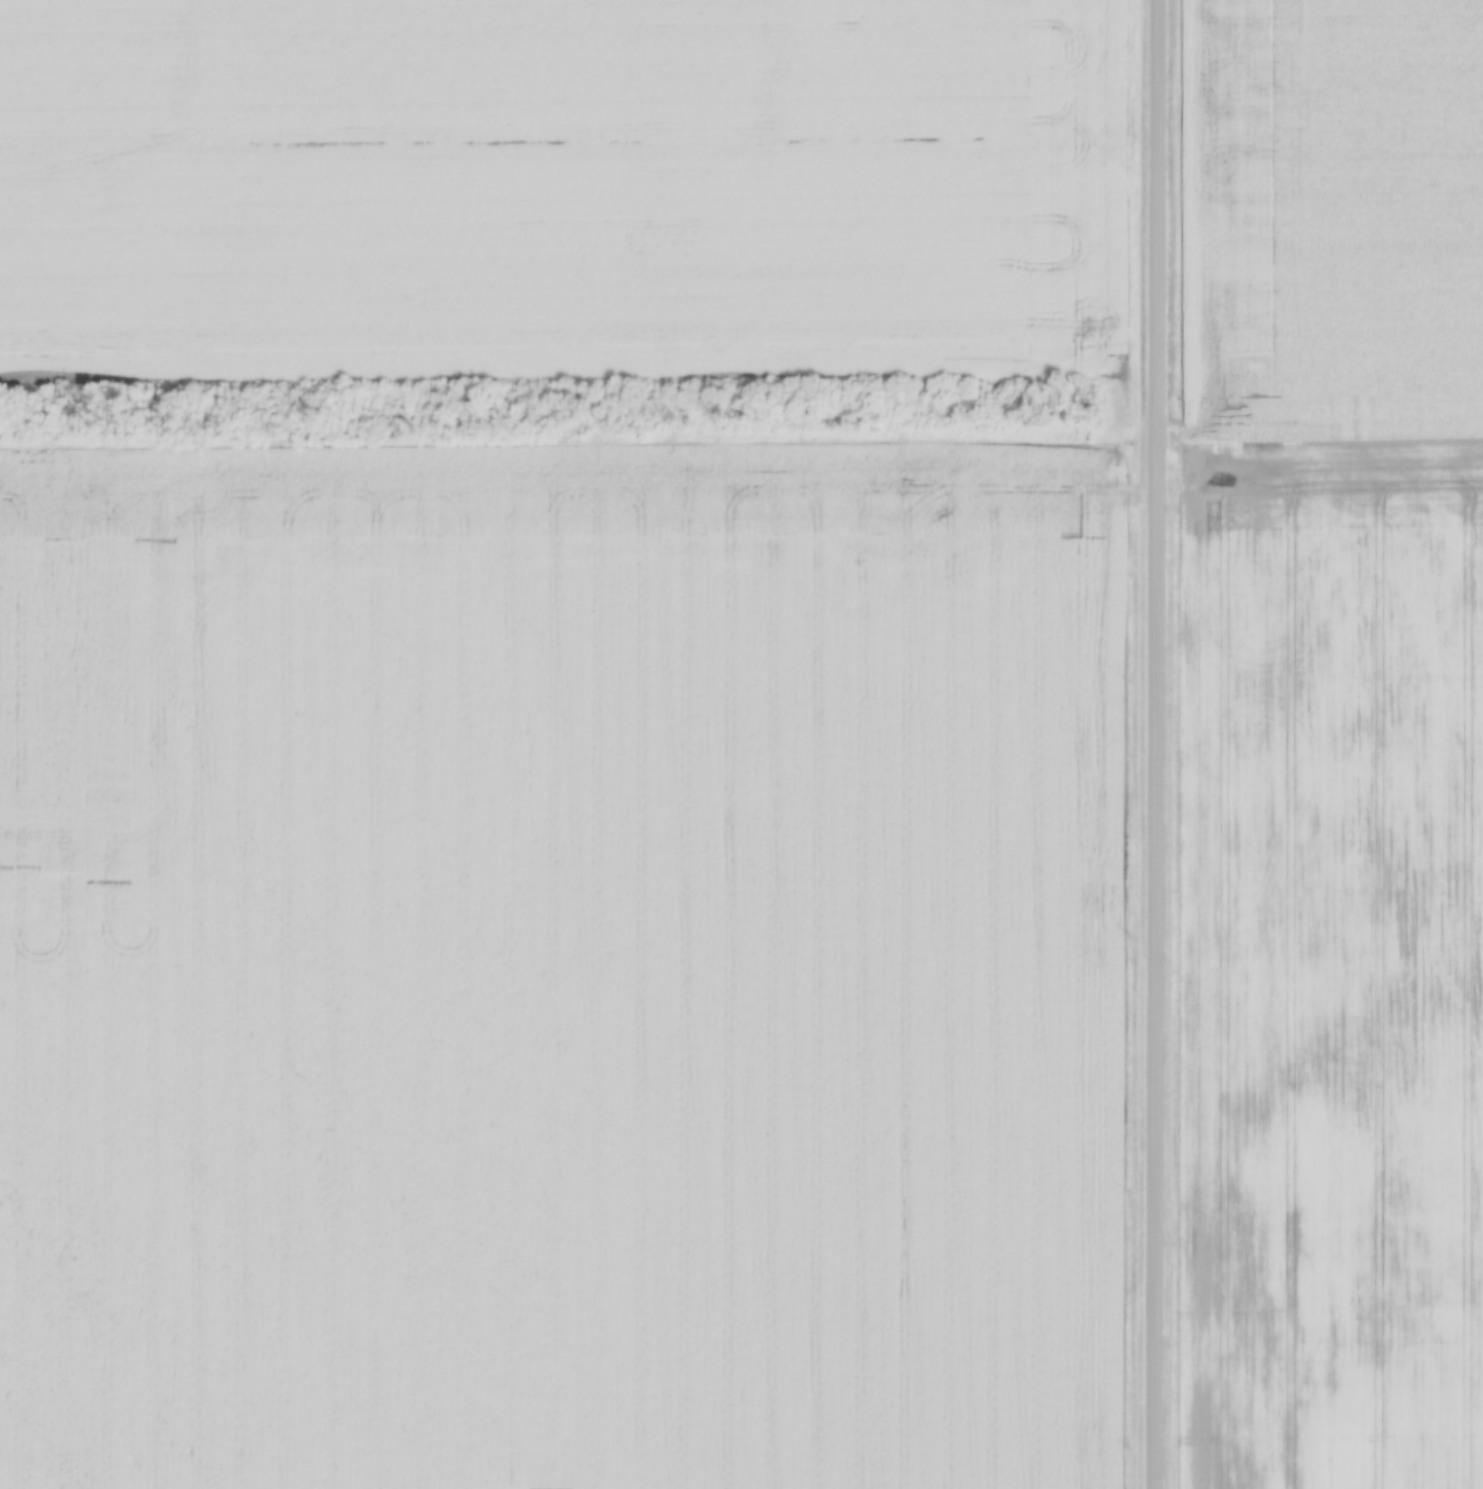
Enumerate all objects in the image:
road: (1160, 744)

